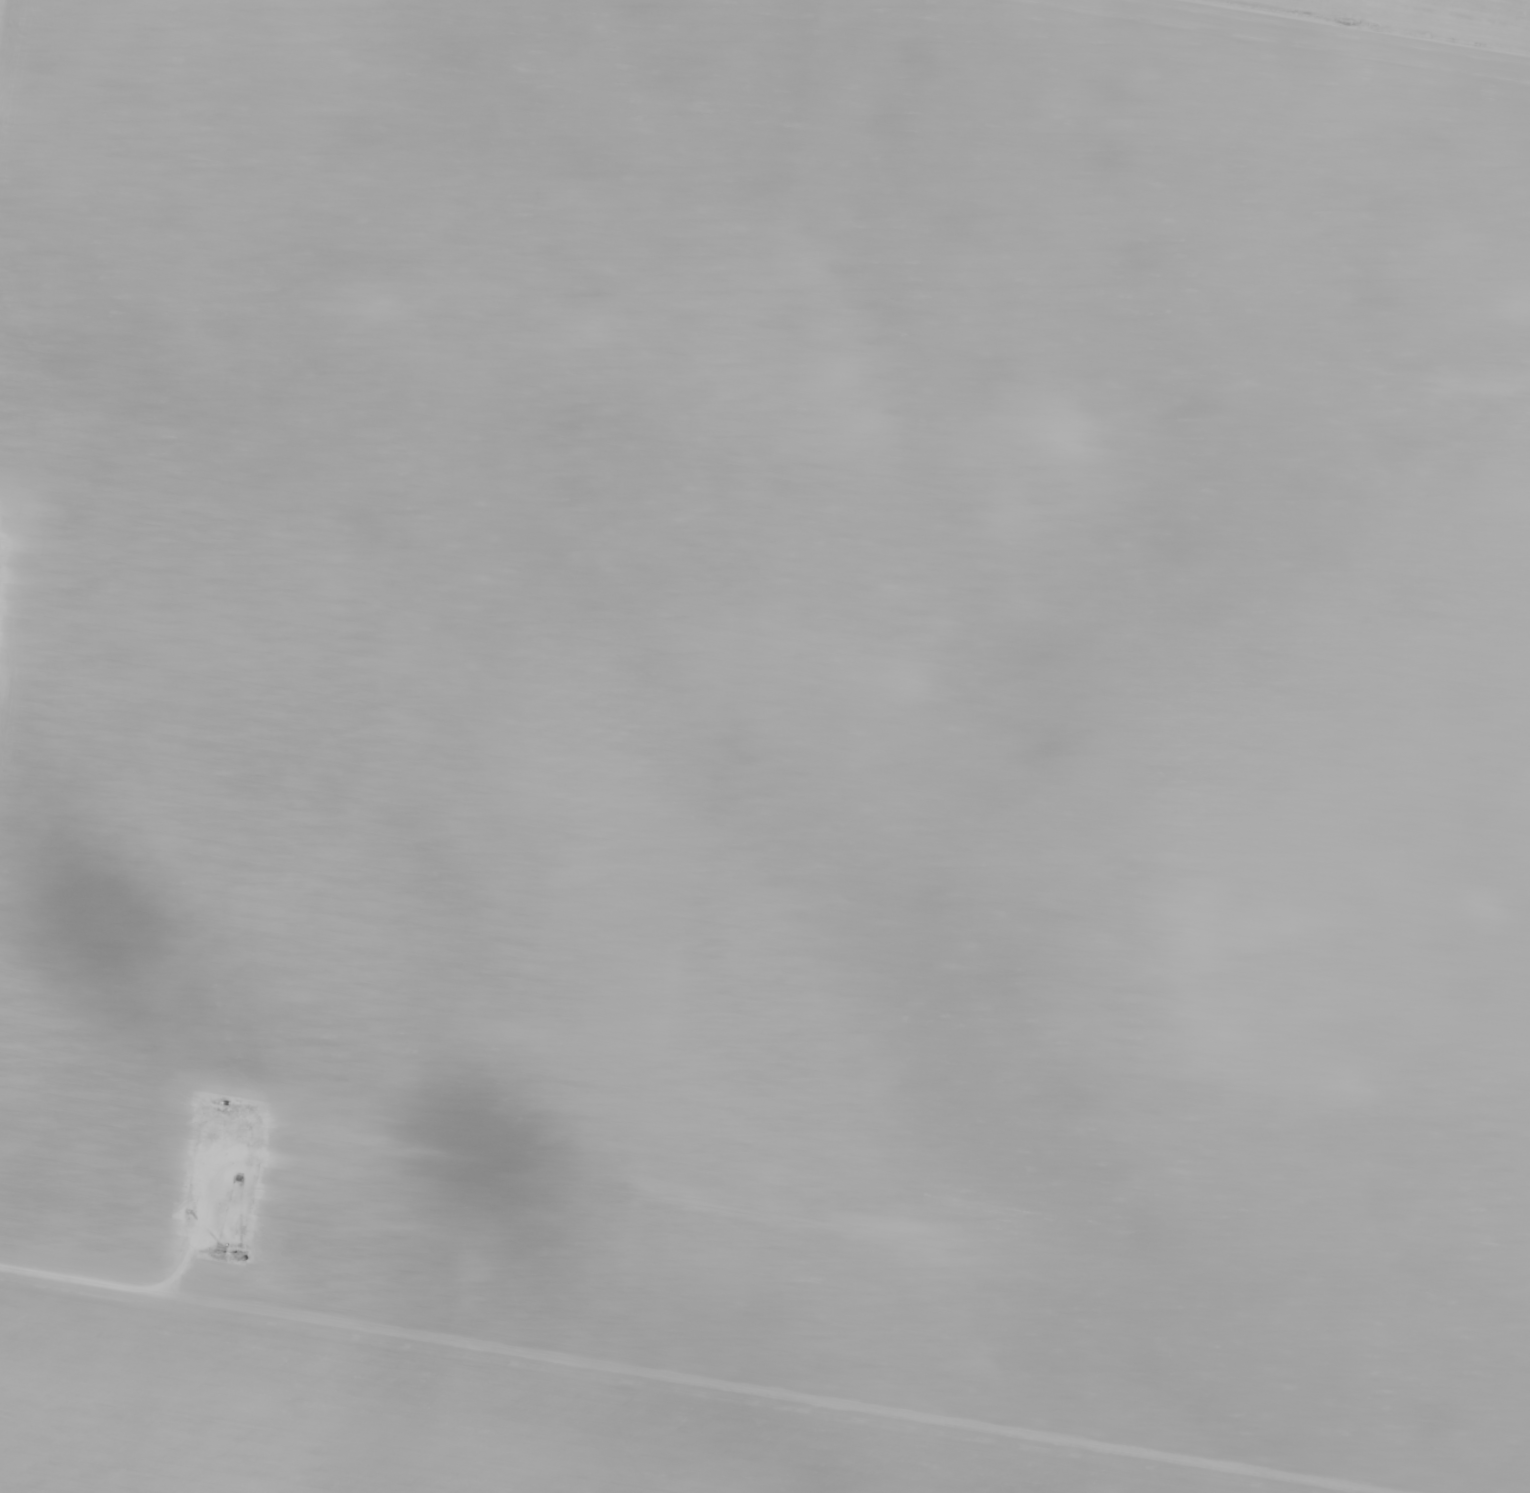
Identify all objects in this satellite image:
road: (1401, 21)
road: (155, 1287)

